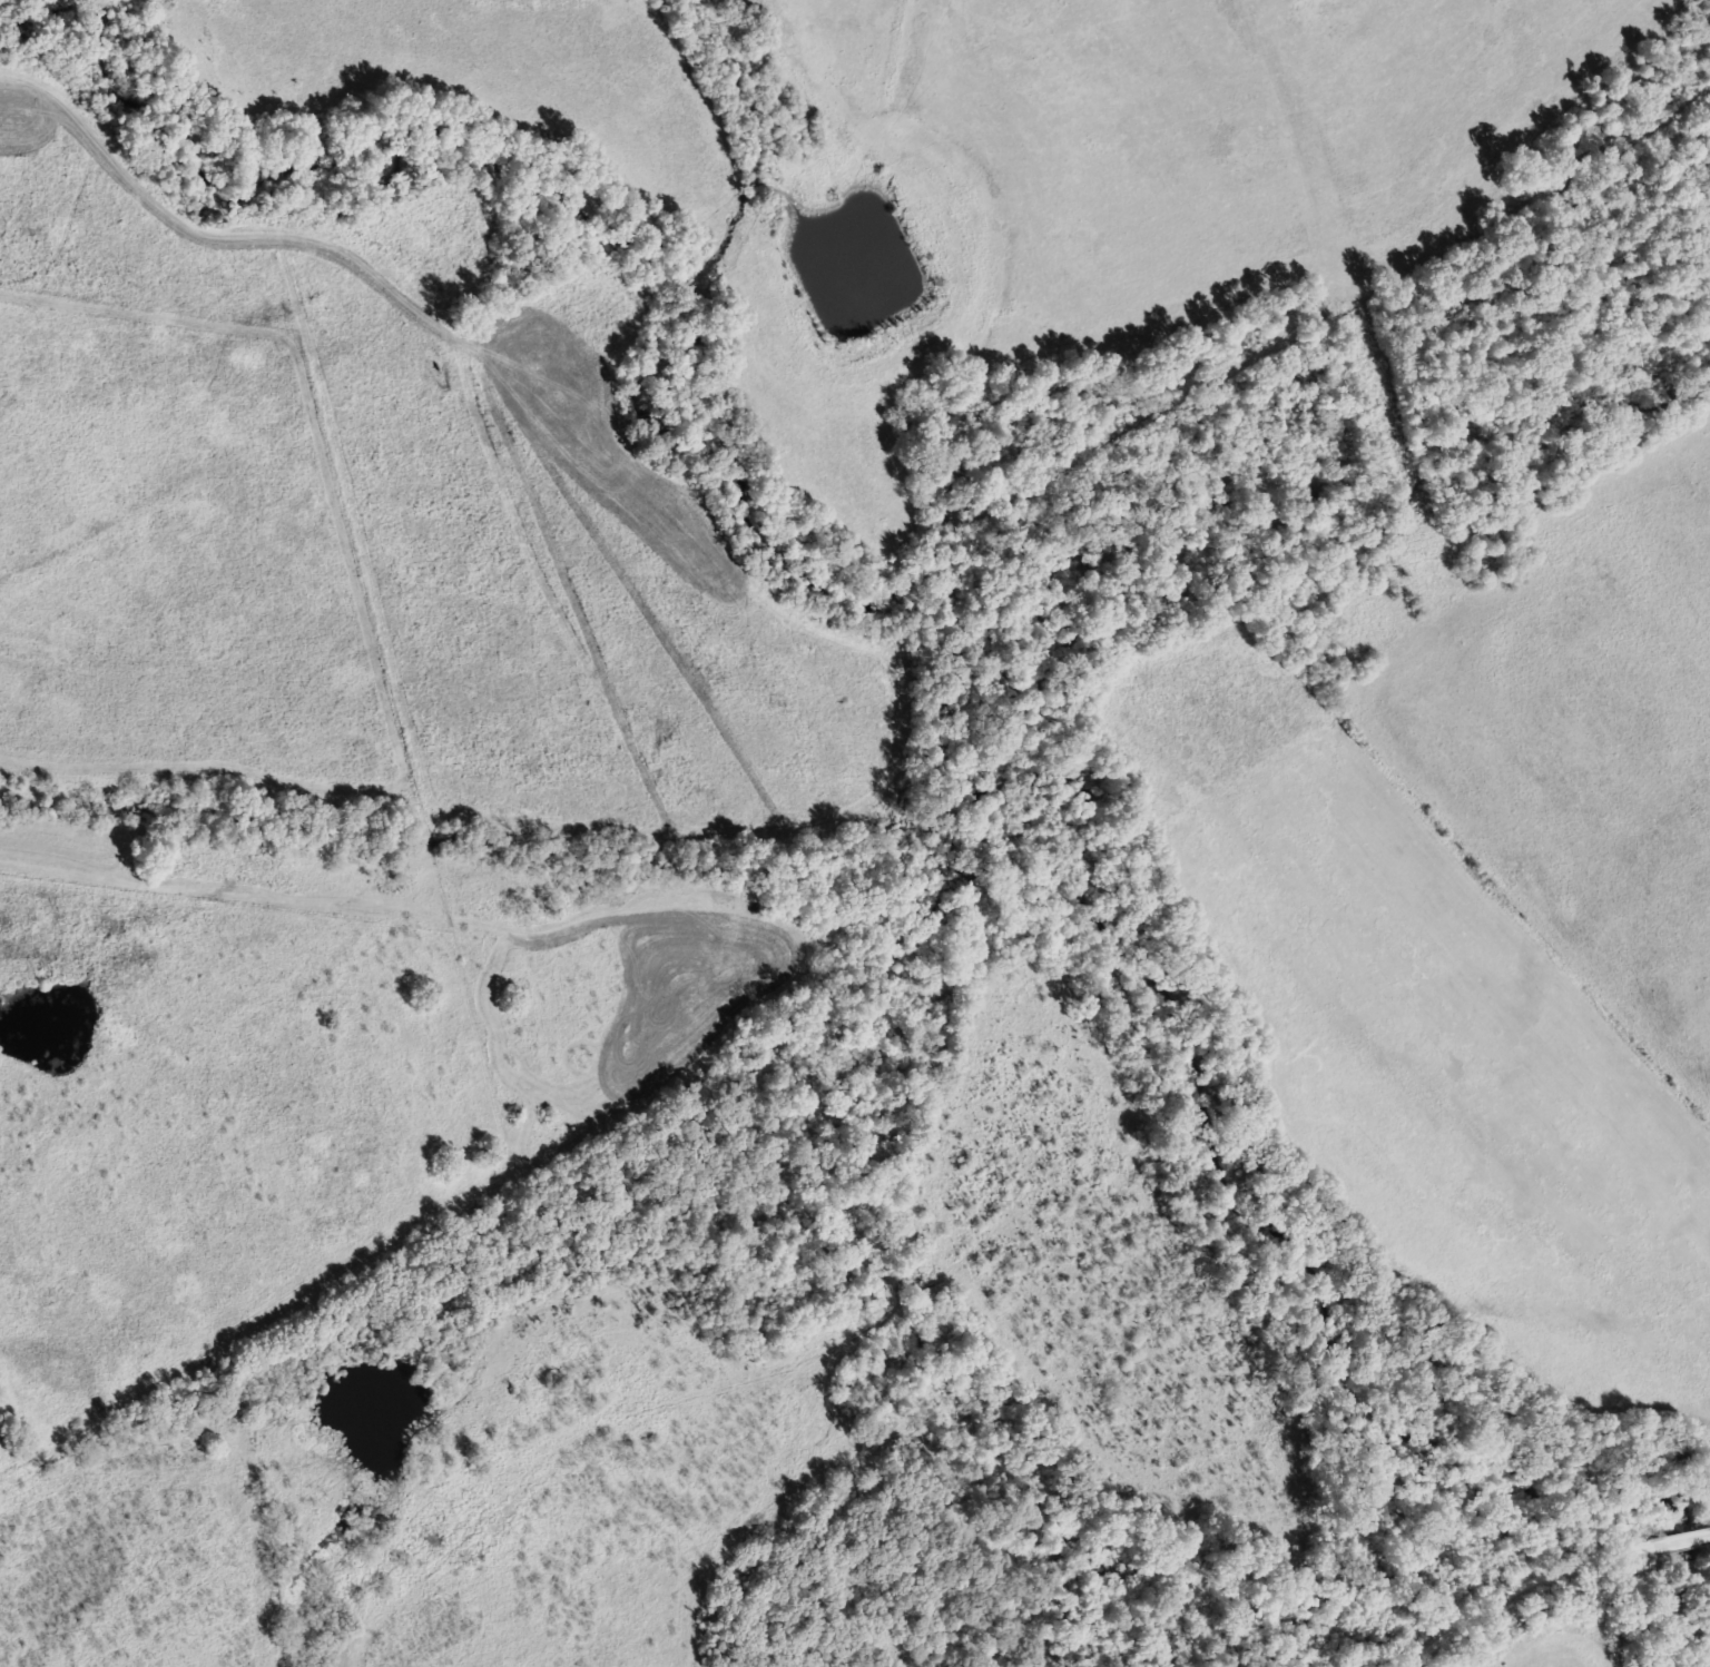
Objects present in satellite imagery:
road: (1551, 1577)

